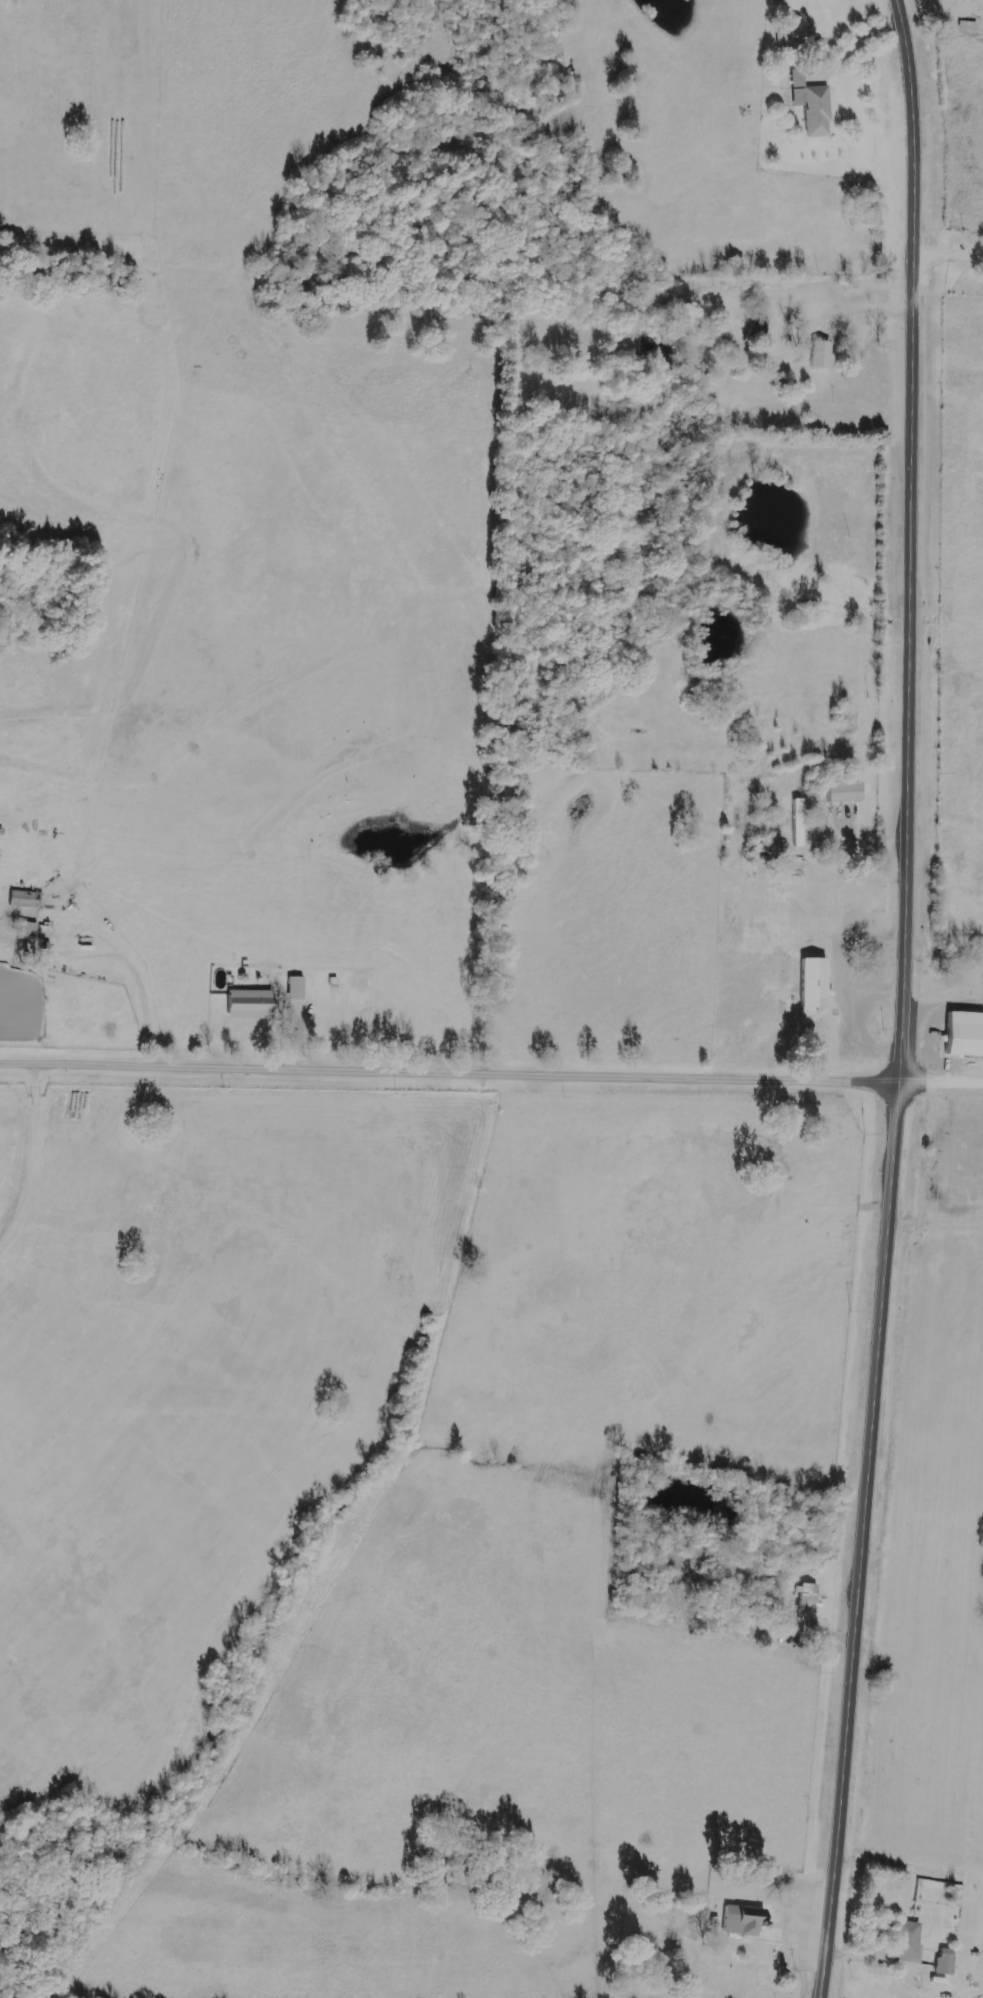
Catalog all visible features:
building: (811, 105)
road: (952, 249)
building: (756, 332)
building: (821, 355)
building: (842, 793)
building: (25, 899)
building: (27, 929)
building: (813, 982)
building: (295, 988)
road: (906, 999)
building: (249, 1004)
building: (964, 1034)
road: (451, 1061)
road: (942, 1082)
road: (102, 1176)
building: (808, 1600)
building: (742, 1920)
building: (908, 1942)
building: (944, 1962)

